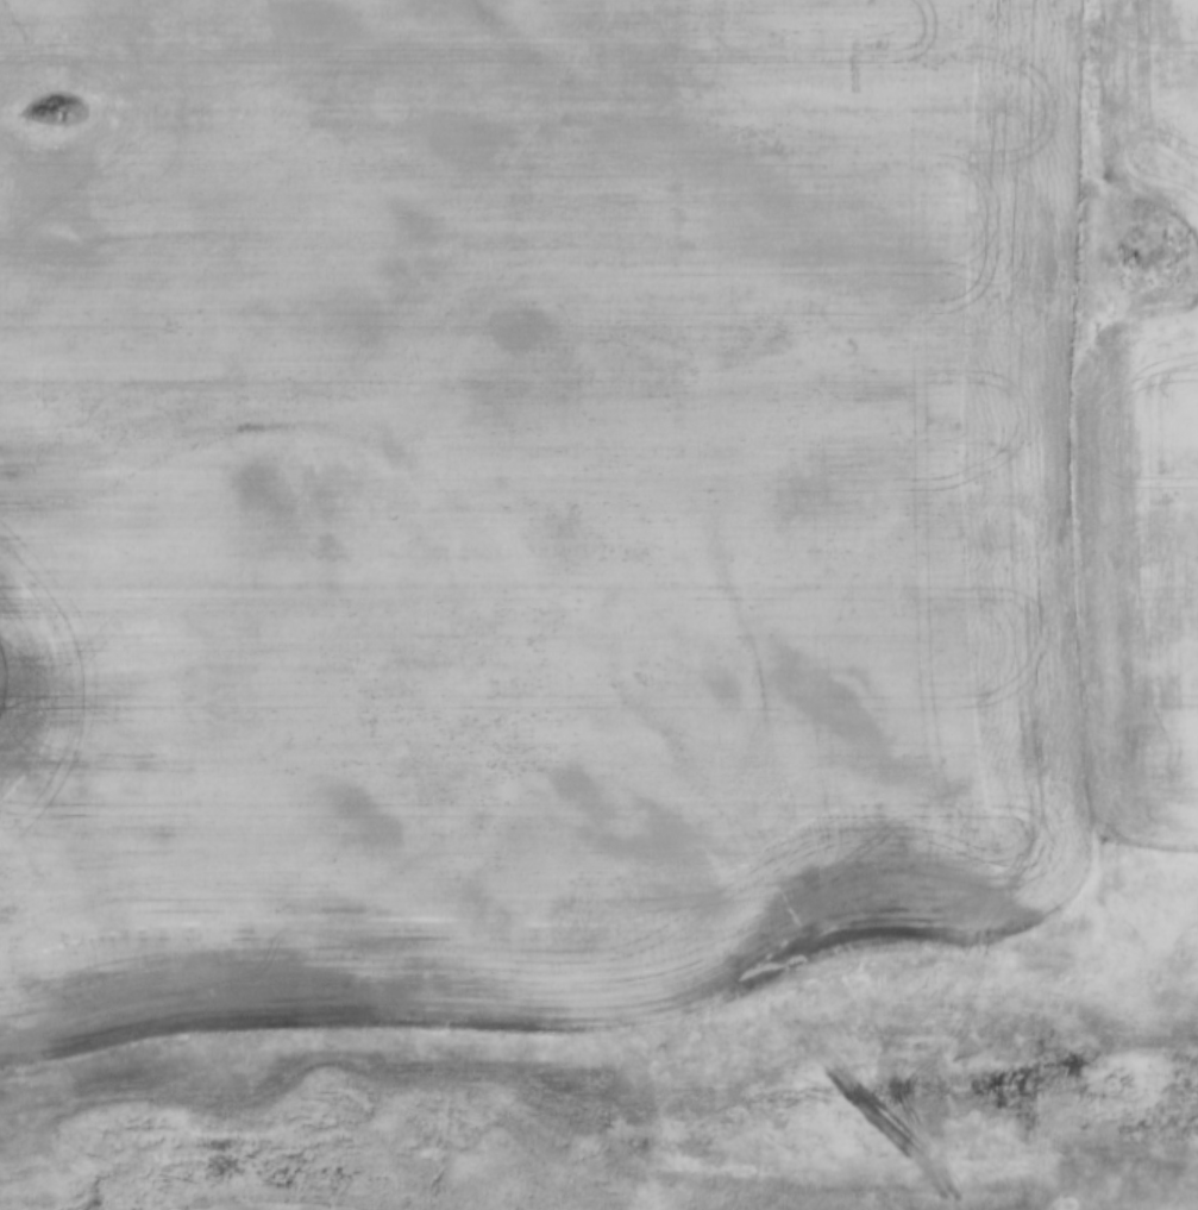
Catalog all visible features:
crop: (1153, 98)
crop: (1148, 562)

